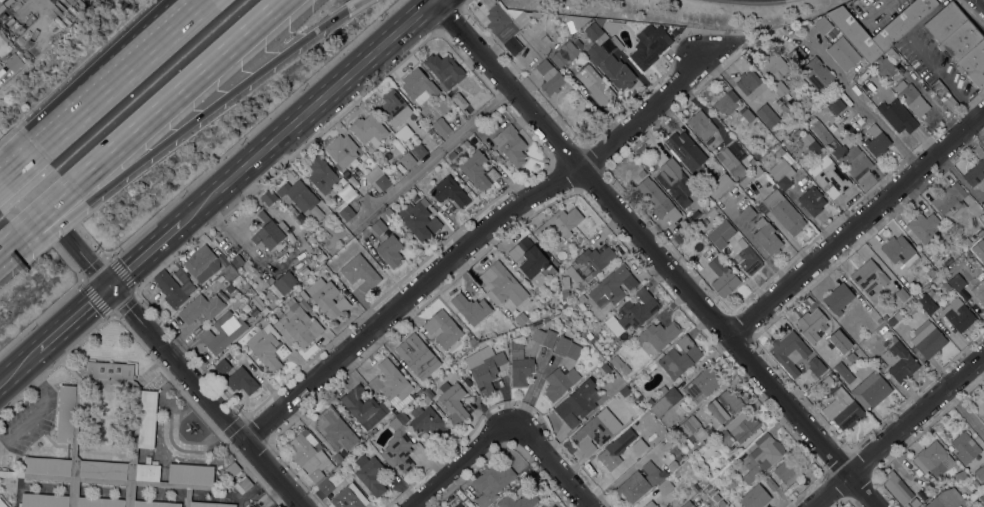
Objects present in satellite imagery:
road: (465, 1)
road: (353, 4)
building: (535, 14)
building: (576, 21)
building: (504, 23)
building: (823, 25)
building: (898, 26)
building: (959, 41)
building: (577, 43)
building: (648, 48)
building: (564, 53)
building: (843, 54)
building: (891, 54)
building: (796, 55)
building: (607, 60)
building: (13, 62)
building: (0, 65)
building: (773, 65)
building: (884, 68)
building: (444, 69)
building: (817, 74)
road: (106, 76)
road: (126, 76)
building: (549, 78)
road: (943, 78)
building: (595, 85)
building: (750, 85)
building: (418, 86)
building: (779, 88)
building: (938, 88)
road: (178, 93)
building: (786, 97)
building: (911, 98)
building: (459, 100)
building: (725, 102)
building: (951, 104)
road: (216, 105)
building: (836, 105)
building: (783, 107)
building: (392, 108)
road: (862, 108)
building: (448, 109)
road: (307, 112)
building: (746, 114)
building: (767, 116)
building: (896, 116)
building: (701, 125)
building: (441, 127)
road: (254, 129)
building: (368, 130)
building: (403, 133)
building: (432, 134)
building: (823, 135)
building: (873, 140)
building: (510, 145)
building: (814, 148)
building: (684, 149)
building: (342, 150)
building: (418, 151)
building: (778, 153)
road: (435, 155)
building: (498, 158)
building: (407, 161)
building: (752, 162)
building: (731, 163)
building: (854, 163)
road: (20, 168)
building: (478, 170)
building: (396, 173)
building: (641, 174)
building: (782, 174)
building: (322, 175)
building: (975, 175)
building: (829, 176)
building: (378, 178)
building: (748, 178)
building: (675, 183)
building: (719, 185)
building: (346, 187)
building: (449, 191)
building: (301, 197)
building: (268, 198)
building: (656, 200)
building: (811, 201)
building: (950, 202)
road: (45, 210)
building: (344, 211)
building: (388, 212)
building: (783, 212)
building: (296, 214)
building: (694, 214)
building: (747, 214)
building: (419, 220)
road: (58, 224)
building: (397, 224)
building: (559, 224)
road: (854, 224)
building: (378, 227)
building: (925, 227)
building: (269, 232)
building: (979, 233)
building: (729, 234)
building: (767, 237)
road: (475, 238)
road: (9, 241)
building: (966, 242)
road: (15, 248)
building: (978, 250)
building: (390, 251)
building: (899, 251)
building: (319, 253)
road: (144, 255)
road: (652, 256)
building: (237, 261)
building: (531, 261)
building: (748, 261)
building: (315, 263)
building: (592, 263)
building: (201, 264)
building: (359, 271)
building: (931, 273)
building: (722, 274)
building: (230, 275)
building: (868, 276)
building: (285, 283)
building: (565, 283)
building: (957, 283)
building: (502, 284)
building: (613, 285)
building: (174, 287)
building: (946, 287)
building: (228, 288)
building: (979, 291)
building: (901, 294)
building: (303, 295)
building: (327, 298)
building: (838, 299)
building: (926, 303)
building: (201, 308)
building: (471, 308)
building: (637, 310)
building: (264, 311)
building: (958, 315)
road: (40, 316)
road: (73, 319)
building: (521, 319)
building: (890, 321)
building: (173, 323)
building: (568, 323)
building: (812, 325)
building: (298, 326)
building: (443, 328)
building: (223, 332)
road: (150, 334)
building: (543, 335)
building: (589, 335)
building: (658, 335)
building: (840, 337)
building: (927, 339)
building: (472, 341)
building: (562, 346)
building: (267, 348)
building: (573, 351)
building: (789, 352)
building: (417, 356)
building: (680, 358)
building: (898, 360)
building: (616, 362)
building: (519, 365)
road: (18, 367)
building: (222, 367)
building: (484, 368)
building: (817, 368)
building: (625, 370)
building: (109, 371)
building: (844, 372)
building: (241, 381)
building: (393, 382)
building: (467, 382)
building: (559, 383)
building: (621, 383)
building: (701, 385)
building: (417, 390)
building: (662, 390)
building: (871, 390)
building: (428, 393)
building: (426, 399)
building: (453, 400)
building: (650, 402)
building: (665, 402)
building: (576, 404)
road: (37, 405)
building: (363, 407)
building: (723, 408)
building: (394, 410)
building: (842, 410)
road: (962, 411)
building: (341, 413)
building: (983, 413)
building: (66, 414)
building: (402, 417)
building: (147, 419)
building: (427, 423)
building: (742, 427)
building: (691, 429)
road: (896, 429)
building: (333, 430)
building: (592, 432)
building: (367, 436)
building: (724, 438)
building: (965, 447)
building: (398, 448)
building: (691, 449)
building: (107, 454)
building: (308, 454)
building: (611, 455)
building: (762, 457)
building: (337, 458)
building: (933, 459)
road: (462, 464)
road: (551, 464)
building: (46, 466)
building: (330, 466)
building: (672, 466)
building: (232, 470)
building: (147, 472)
building: (787, 472)
building: (980, 472)
building: (190, 473)
building: (370, 474)
building: (960, 476)
building: (244, 482)
building: (331, 482)
building: (640, 482)
building: (492, 484)
building: (770, 484)
building: (983, 485)
building: (664, 487)
building: (897, 488)
building: (349, 497)
building: (982, 498)
building: (946, 499)
building: (518, 501)
building: (915, 502)
building: (2, 504)
building: (650, 504)
building: (686, 504)
building: (210, 505)
building: (458, 505)
building: (538, 506)
building: (540, 506)

